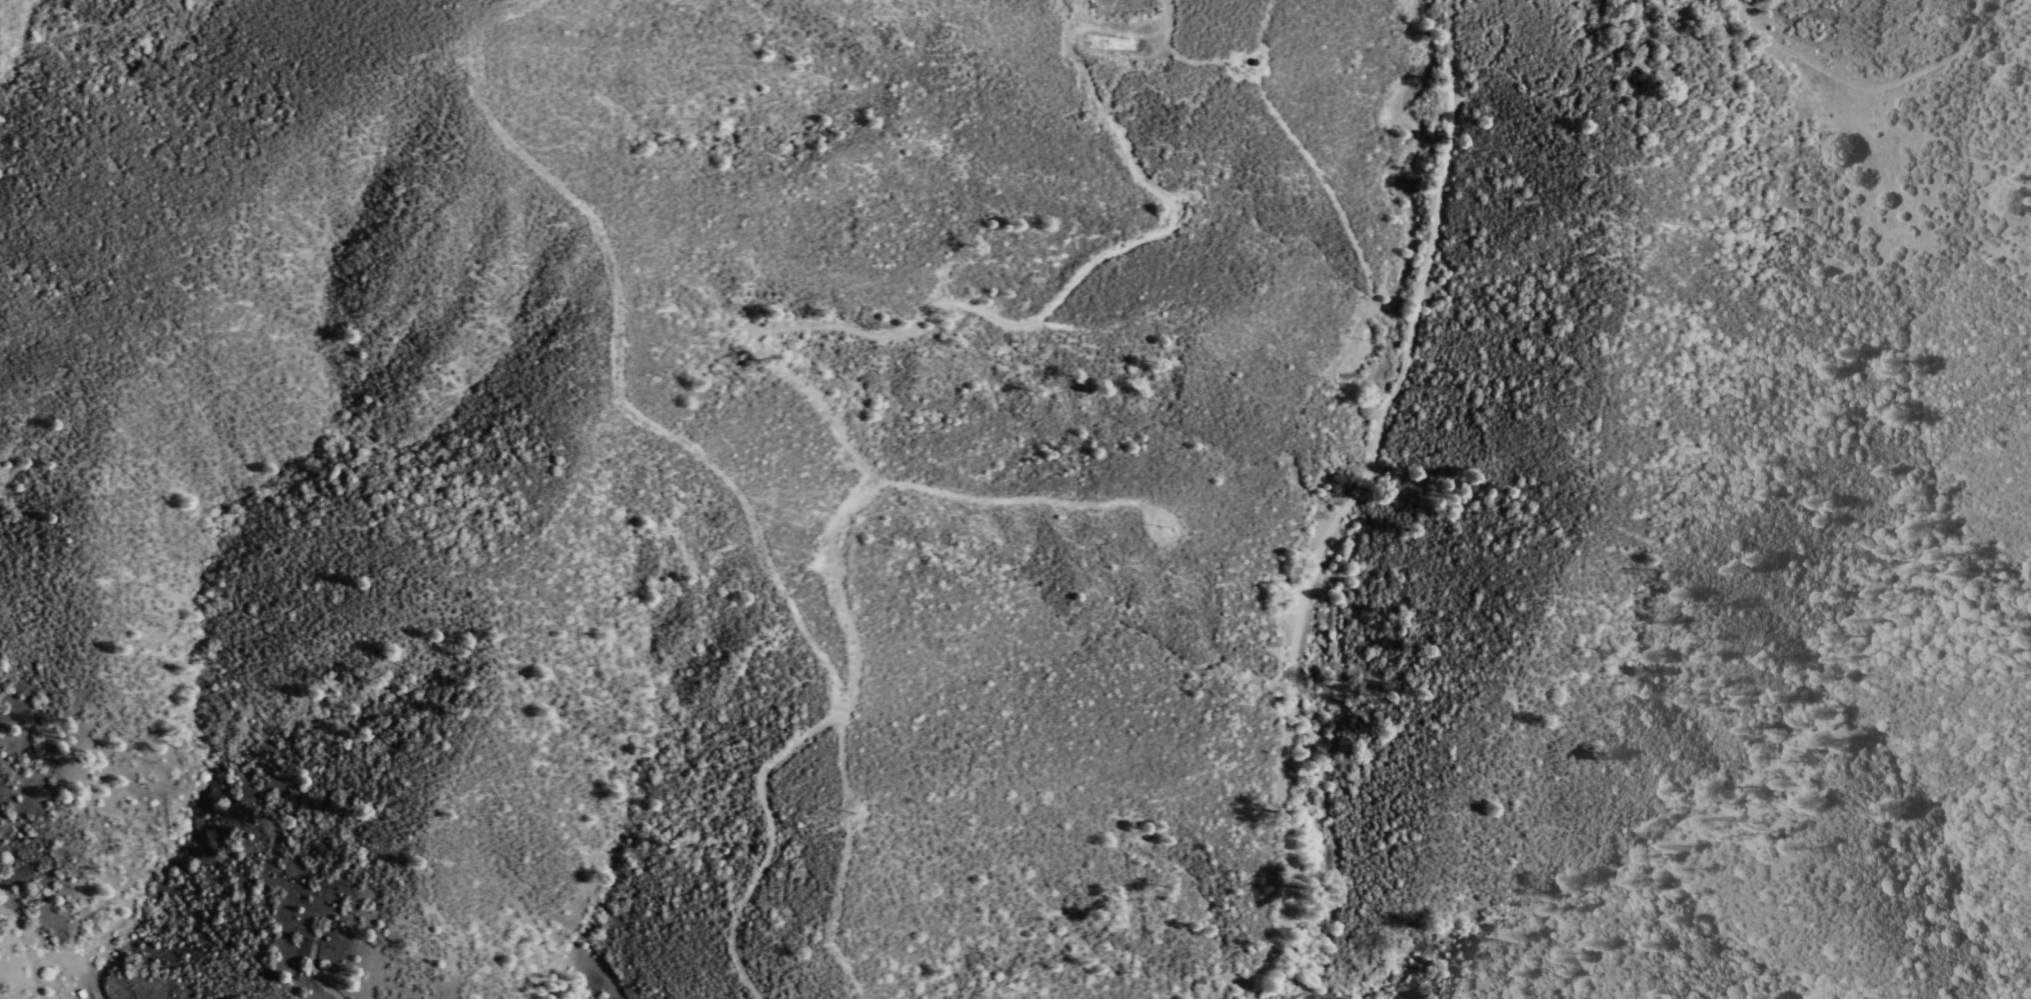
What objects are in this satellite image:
road: (1275, 762)

